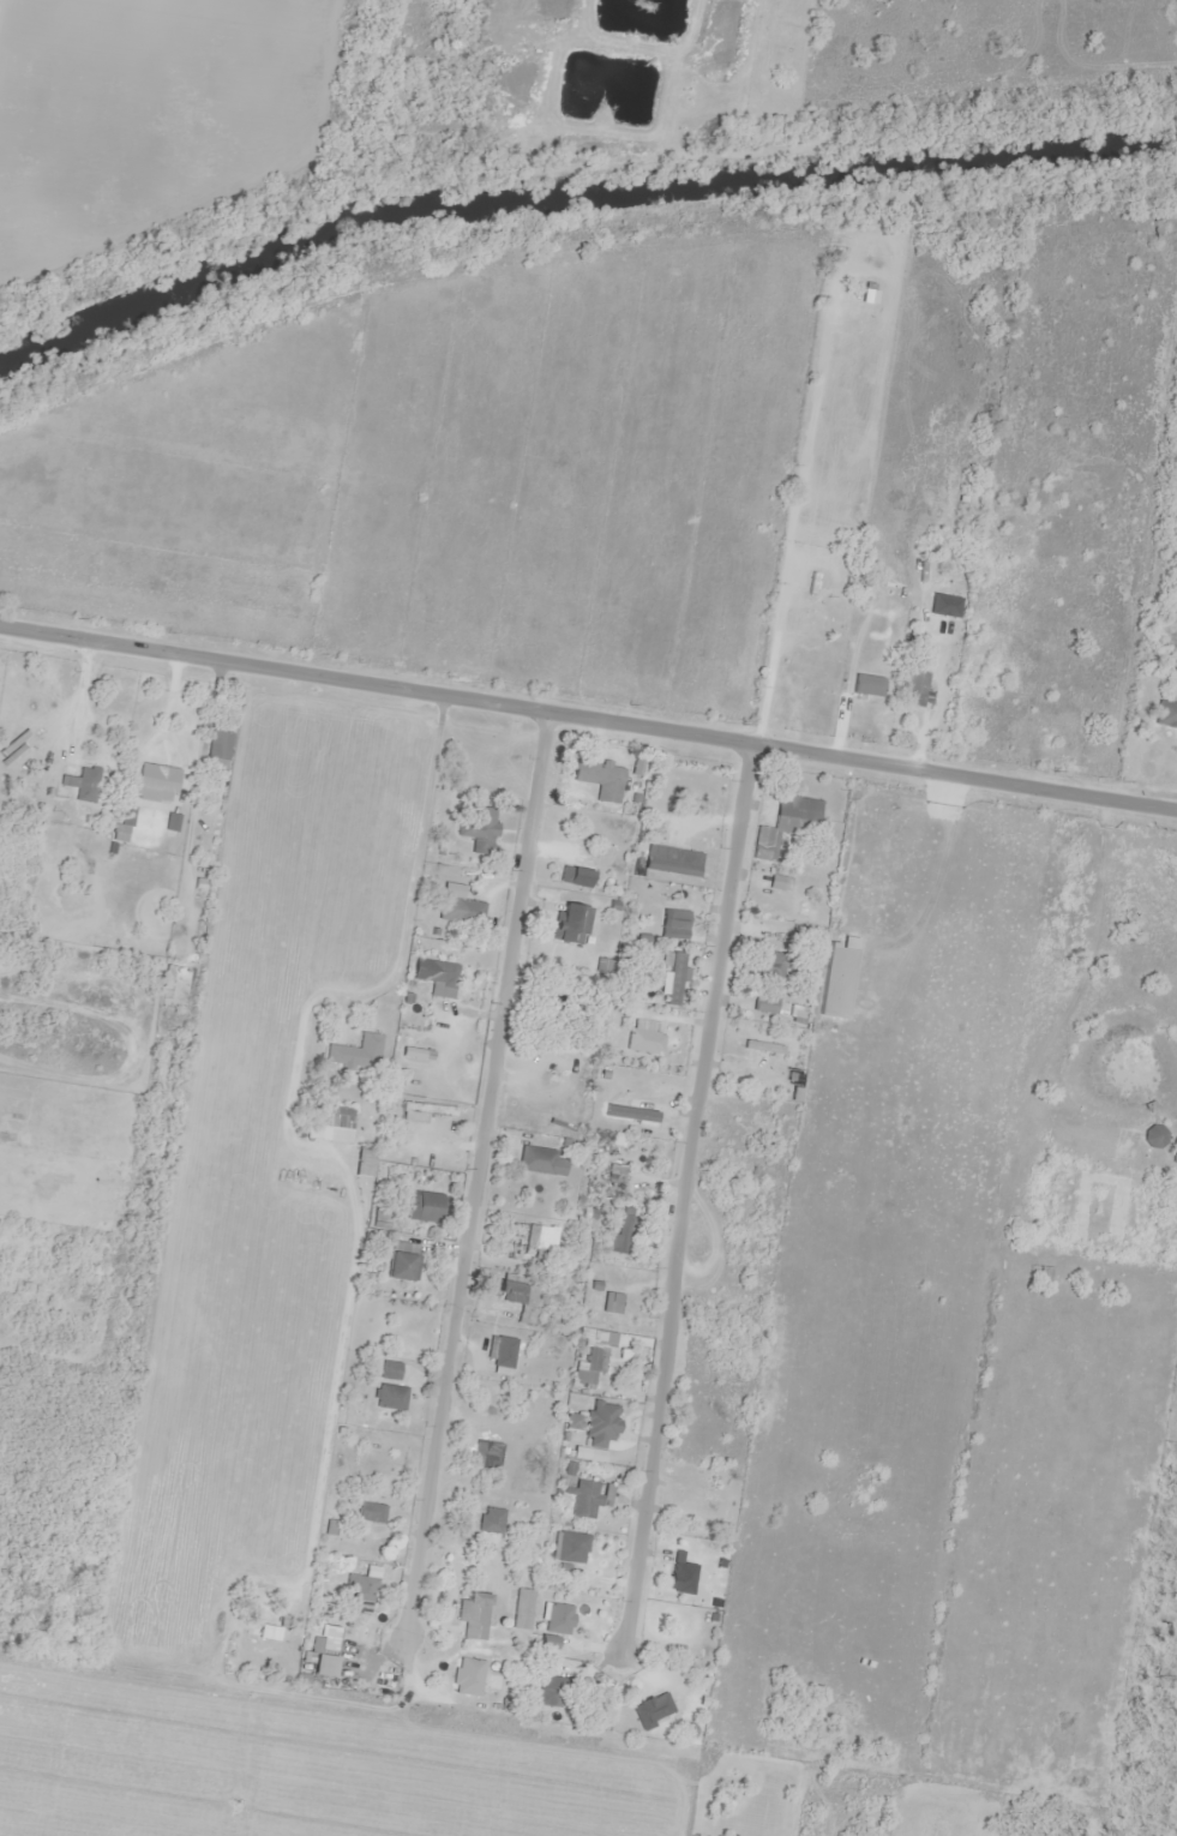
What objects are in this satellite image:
building: (866, 685)
building: (913, 689)
building: (1165, 714)
building: (217, 744)
road: (588, 744)
building: (156, 778)
building: (599, 779)
building: (84, 784)
building: (785, 823)
building: (478, 829)
building: (671, 860)
building: (575, 877)
building: (460, 911)
building: (674, 922)
building: (569, 925)
building: (773, 964)
building: (439, 973)
building: (672, 979)
building: (764, 1001)
building: (553, 1008)
building: (643, 1040)
building: (356, 1052)
road: (711, 1108)
building: (631, 1111)
building: (426, 1114)
building: (334, 1117)
building: (1152, 1136)
building: (1125, 1144)
building: (535, 1160)
building: (364, 1163)
building: (614, 1172)
building: (422, 1206)
building: (586, 1214)
building: (620, 1230)
building: (538, 1243)
building: (400, 1266)
road: (250, 1271)
building: (515, 1291)
building: (606, 1300)
building: (591, 1356)
building: (389, 1369)
building: (389, 1397)
building: (600, 1422)
building: (587, 1498)
building: (701, 1500)
building: (368, 1512)
building: (491, 1525)
building: (568, 1543)
building: (681, 1576)
building: (364, 1585)
building: (521, 1608)
building: (473, 1615)
building: (265, 1630)
building: (329, 1638)
building: (467, 1676)
building: (550, 1691)
building: (647, 1711)

